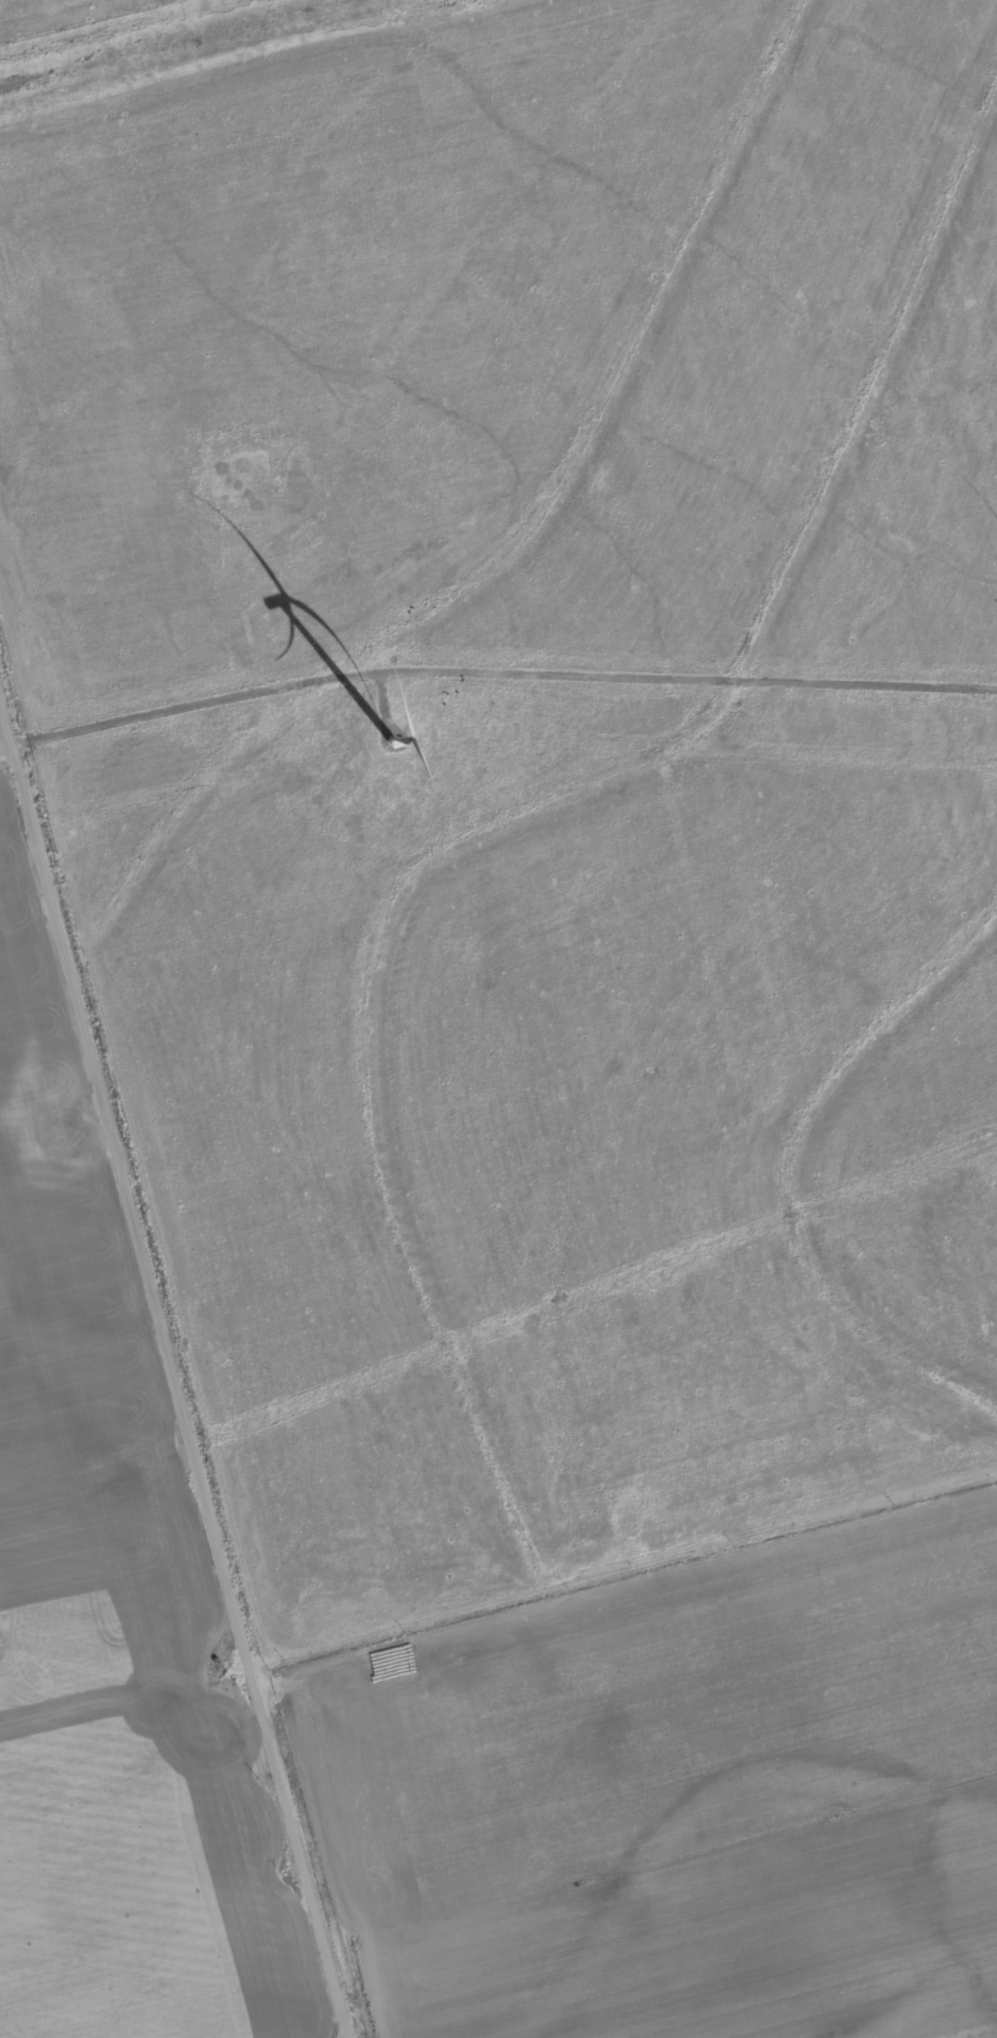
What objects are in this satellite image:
wind turbine: (391, 739)
road: (179, 1353)

